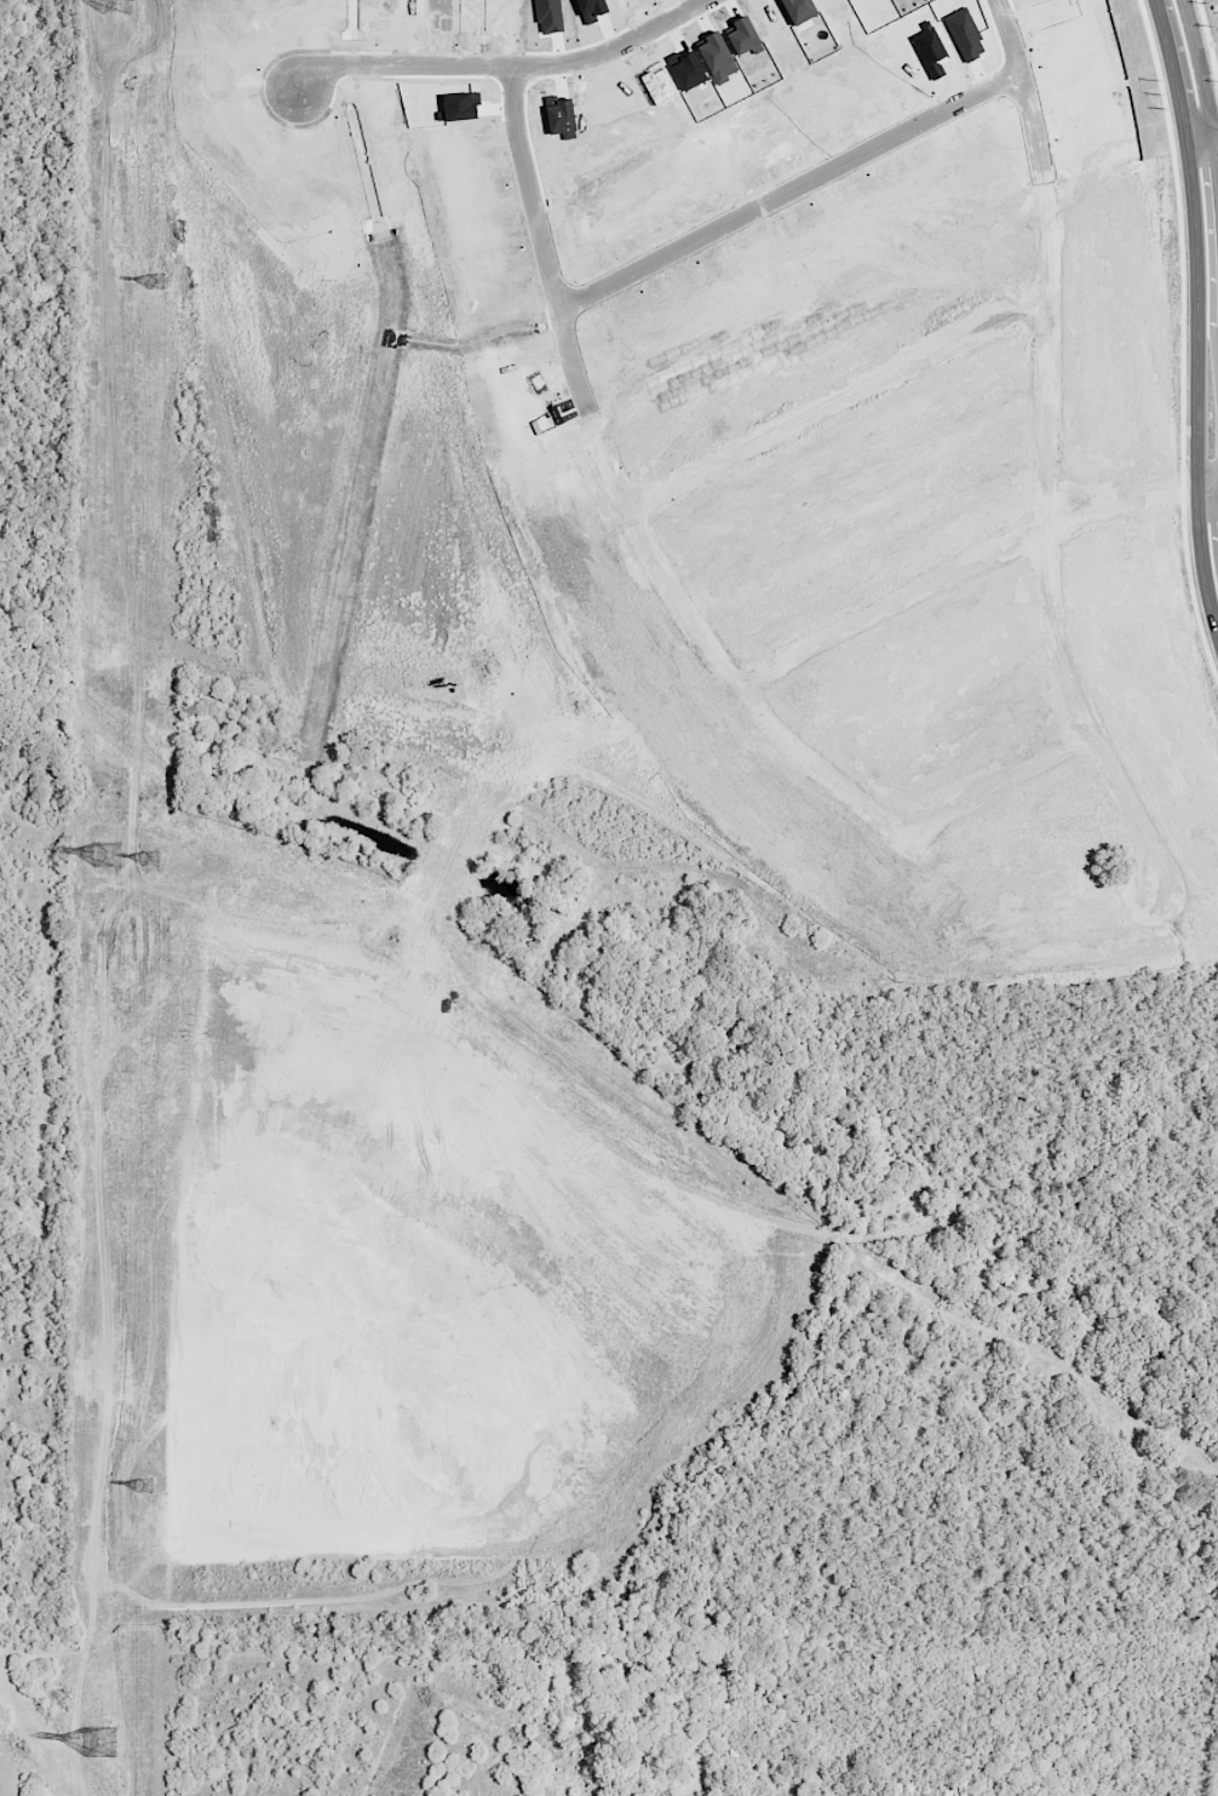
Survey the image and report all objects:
road: (1018, 36)
road: (1207, 42)
road: (513, 67)
road: (1203, 87)
road: (1202, 134)
road: (534, 188)
road: (794, 190)
power tower: (159, 283)
road: (1195, 317)
road: (1182, 343)
road: (837, 394)
road: (1207, 492)
road: (1052, 495)
road: (960, 568)
road: (685, 602)
road: (999, 785)
power tower: (113, 854)
power tower: (151, 859)
power tower: (145, 1486)
power tower: (104, 1742)

